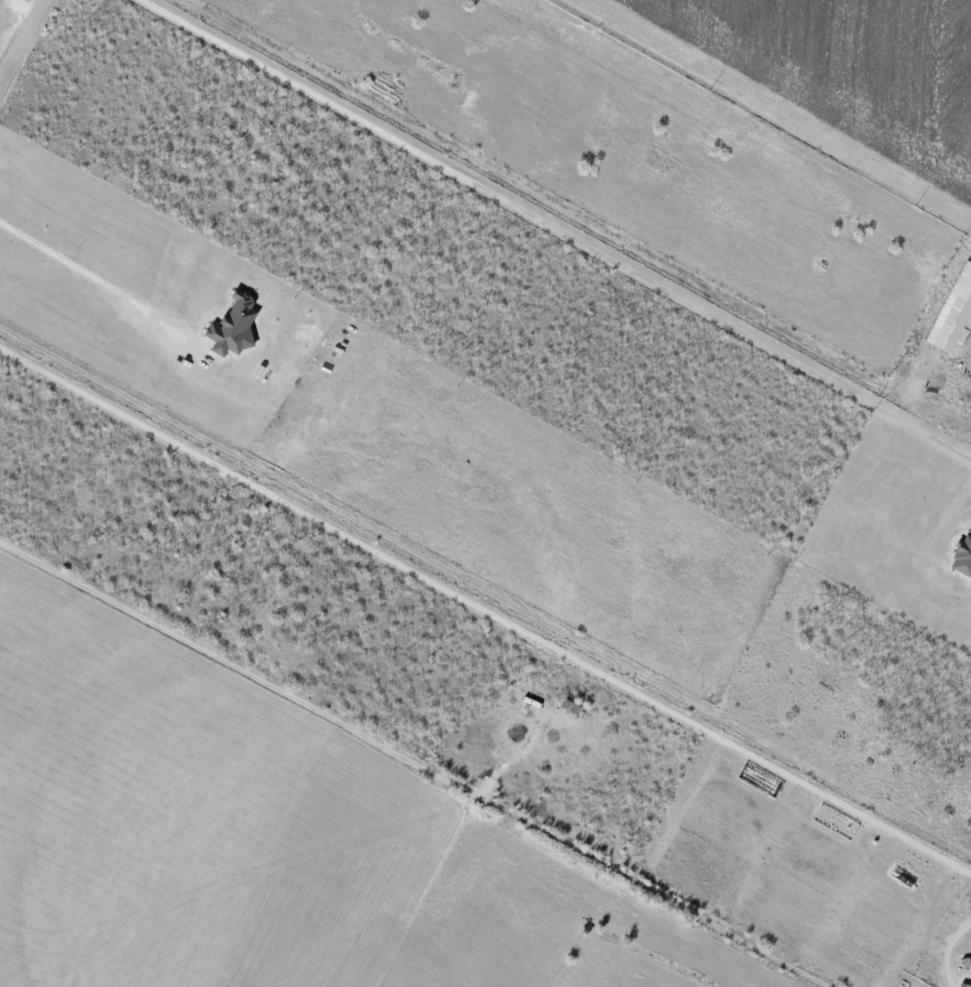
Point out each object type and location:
road: (23, 44)
road: (547, 235)
road: (75, 276)
building: (956, 319)
building: (236, 324)
road: (192, 356)
building: (964, 556)
road: (485, 603)
road: (418, 754)
road: (952, 952)
building: (965, 984)

